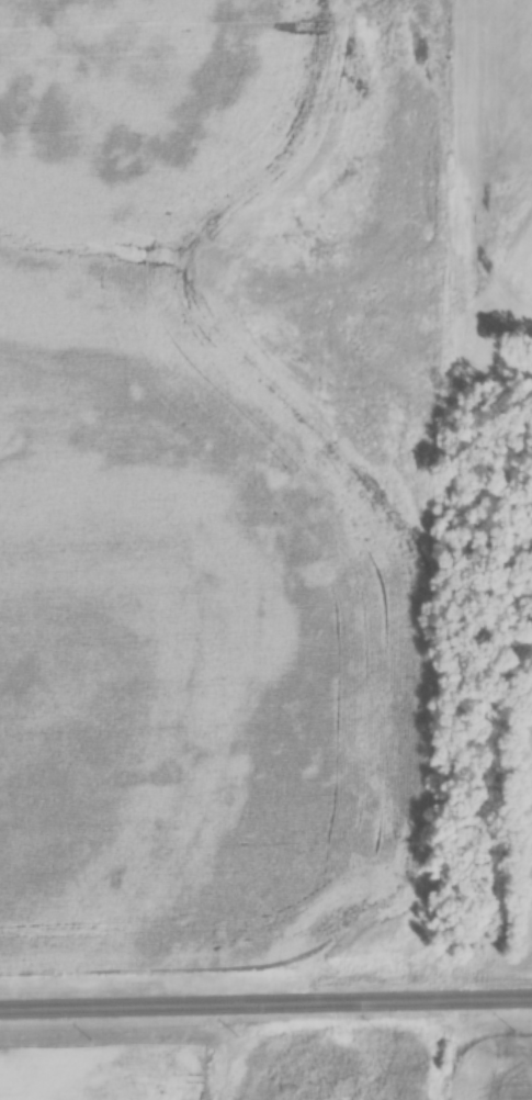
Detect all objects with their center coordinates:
road: (265, 996)

